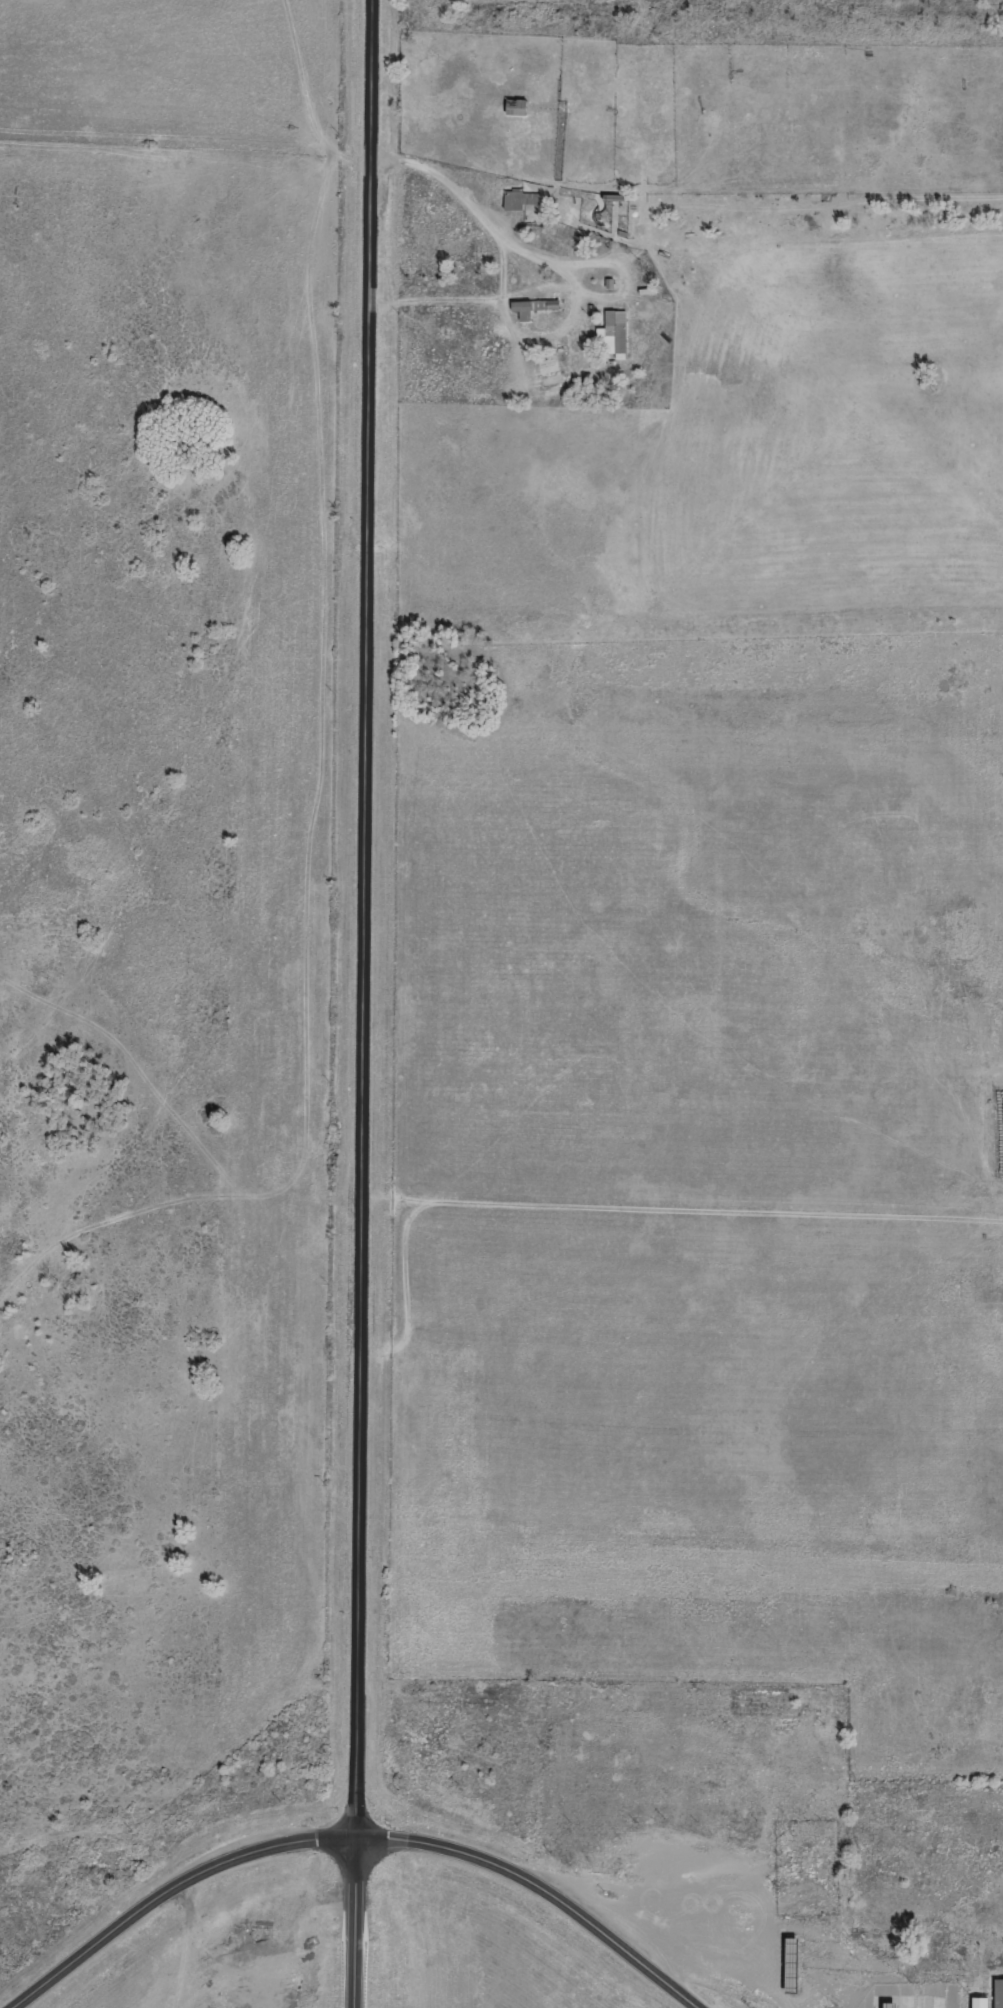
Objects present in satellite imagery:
building: (514, 105)
building: (514, 200)
building: (531, 306)
building: (610, 332)
road: (362, 1004)
road: (350, 1833)
building: (787, 1961)
road: (774, 1963)
building: (996, 1992)
building: (976, 2001)

